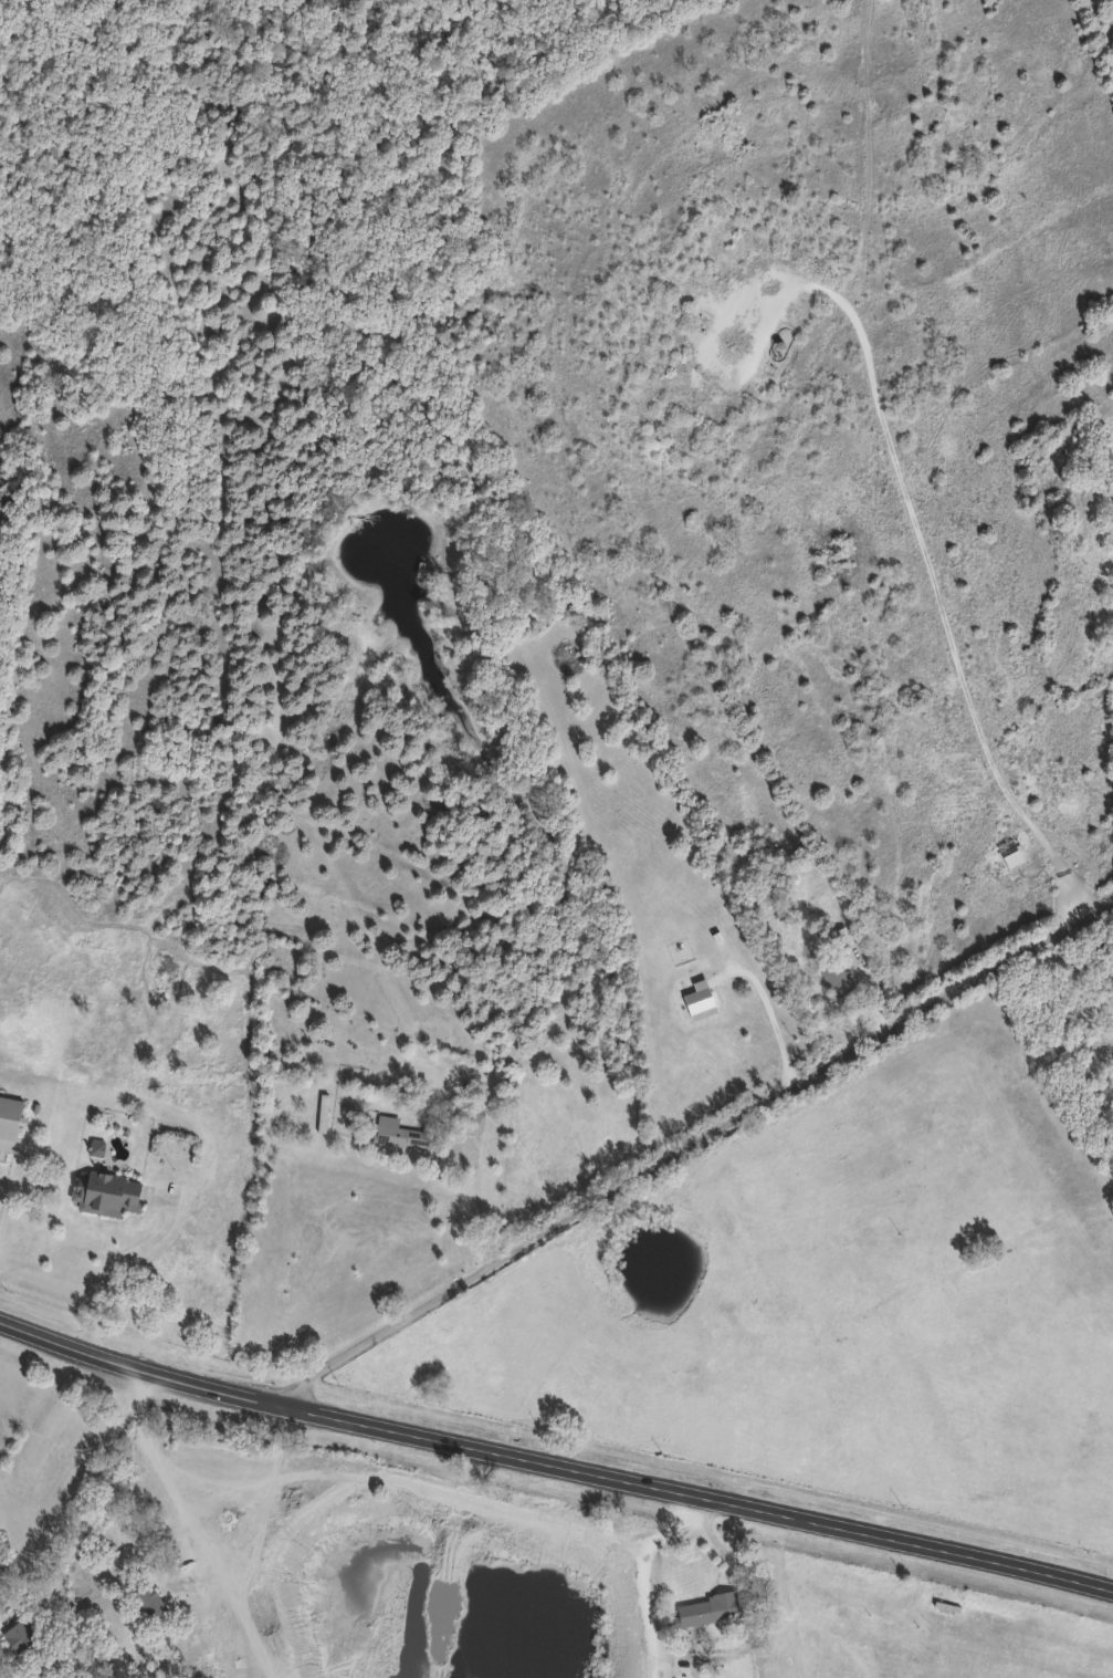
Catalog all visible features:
road: (926, 565)
building: (843, 938)
building: (837, 976)
road: (776, 1017)
building: (323, 1112)
building: (10, 1116)
building: (298, 1121)
building: (472, 1121)
building: (399, 1133)
road: (692, 1147)
building: (111, 1192)
road: (9, 1203)
road: (483, 1205)
road: (116, 1265)
road: (554, 1463)
road: (168, 1479)
road: (75, 1492)
road: (644, 1576)
road: (741, 1585)
building: (710, 1609)
building: (21, 1634)

